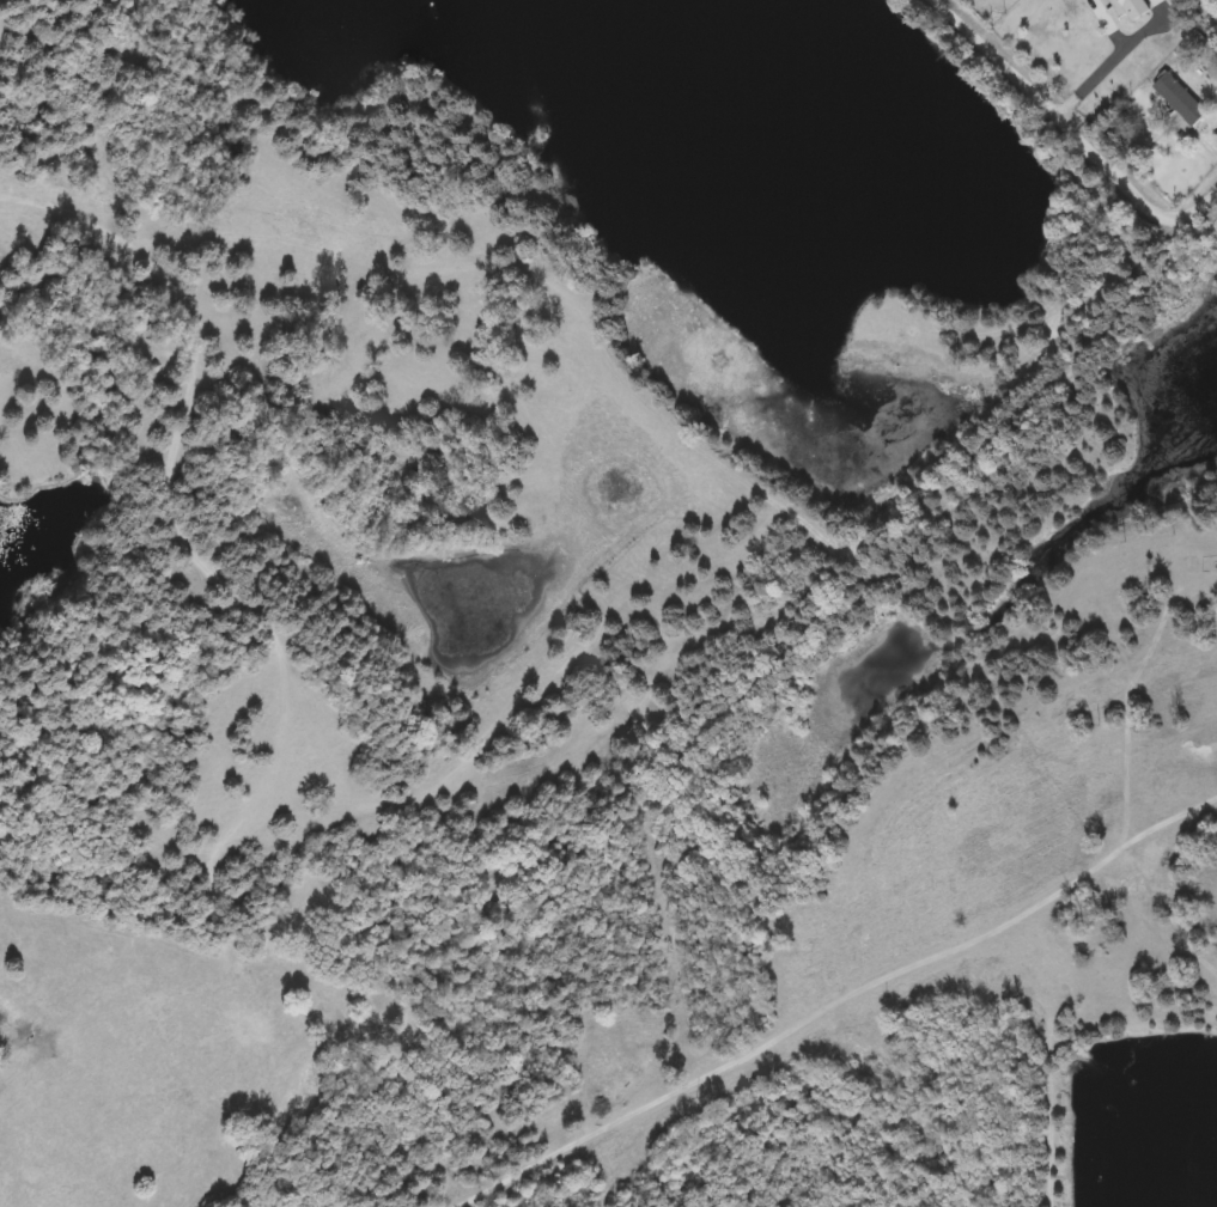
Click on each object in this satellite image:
building: (1131, 7)
road: (1114, 62)
building: (1180, 100)
road: (1070, 130)

